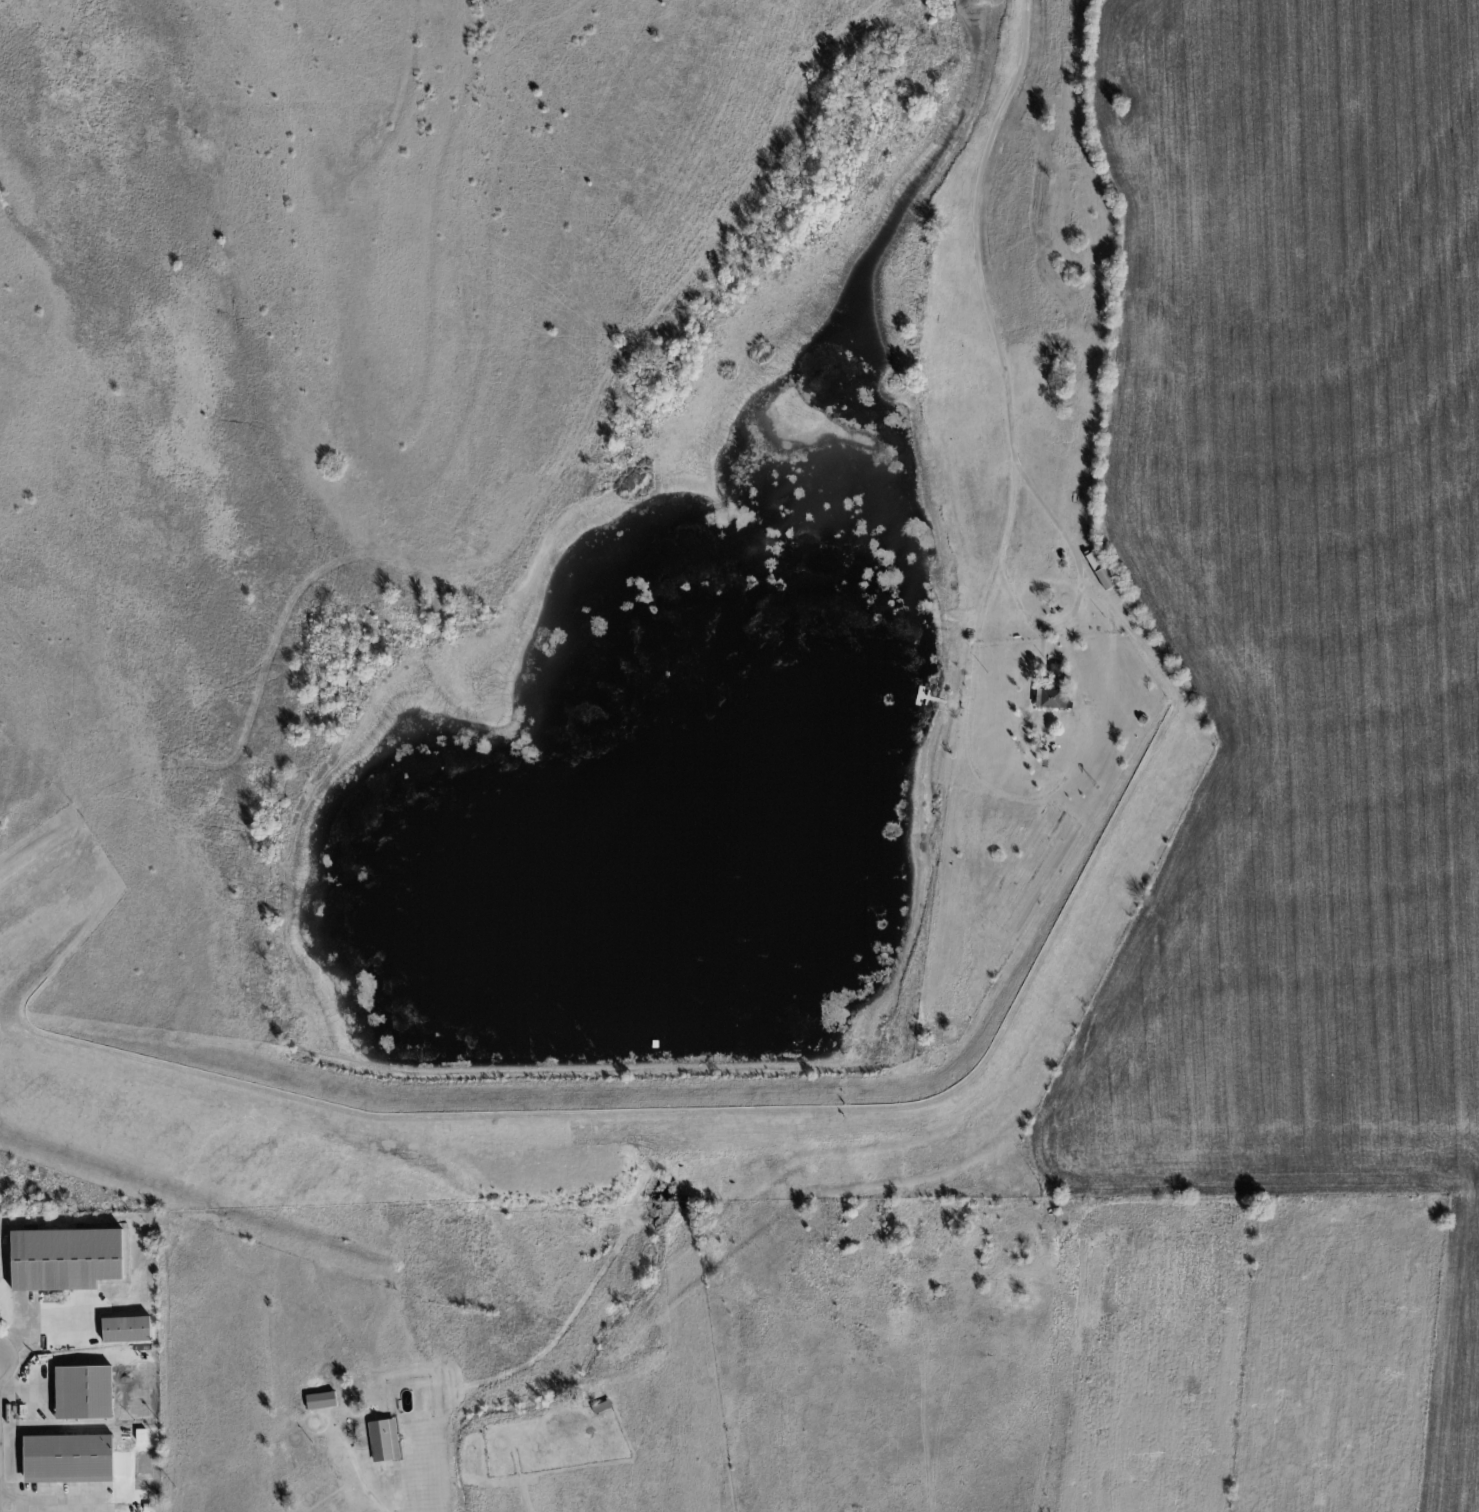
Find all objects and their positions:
road: (1009, 436)
building: (1100, 569)
road: (1079, 593)
building: (1056, 673)
building: (1050, 697)
pier: (928, 698)
building: (1142, 719)
dam: (1054, 938)
building: (65, 1258)
road: (35, 1323)
building: (126, 1329)
building: (149, 1355)
building: (83, 1392)
building: (320, 1400)
building: (384, 1440)
building: (68, 1458)
road: (375, 1496)
road: (49, 1504)

